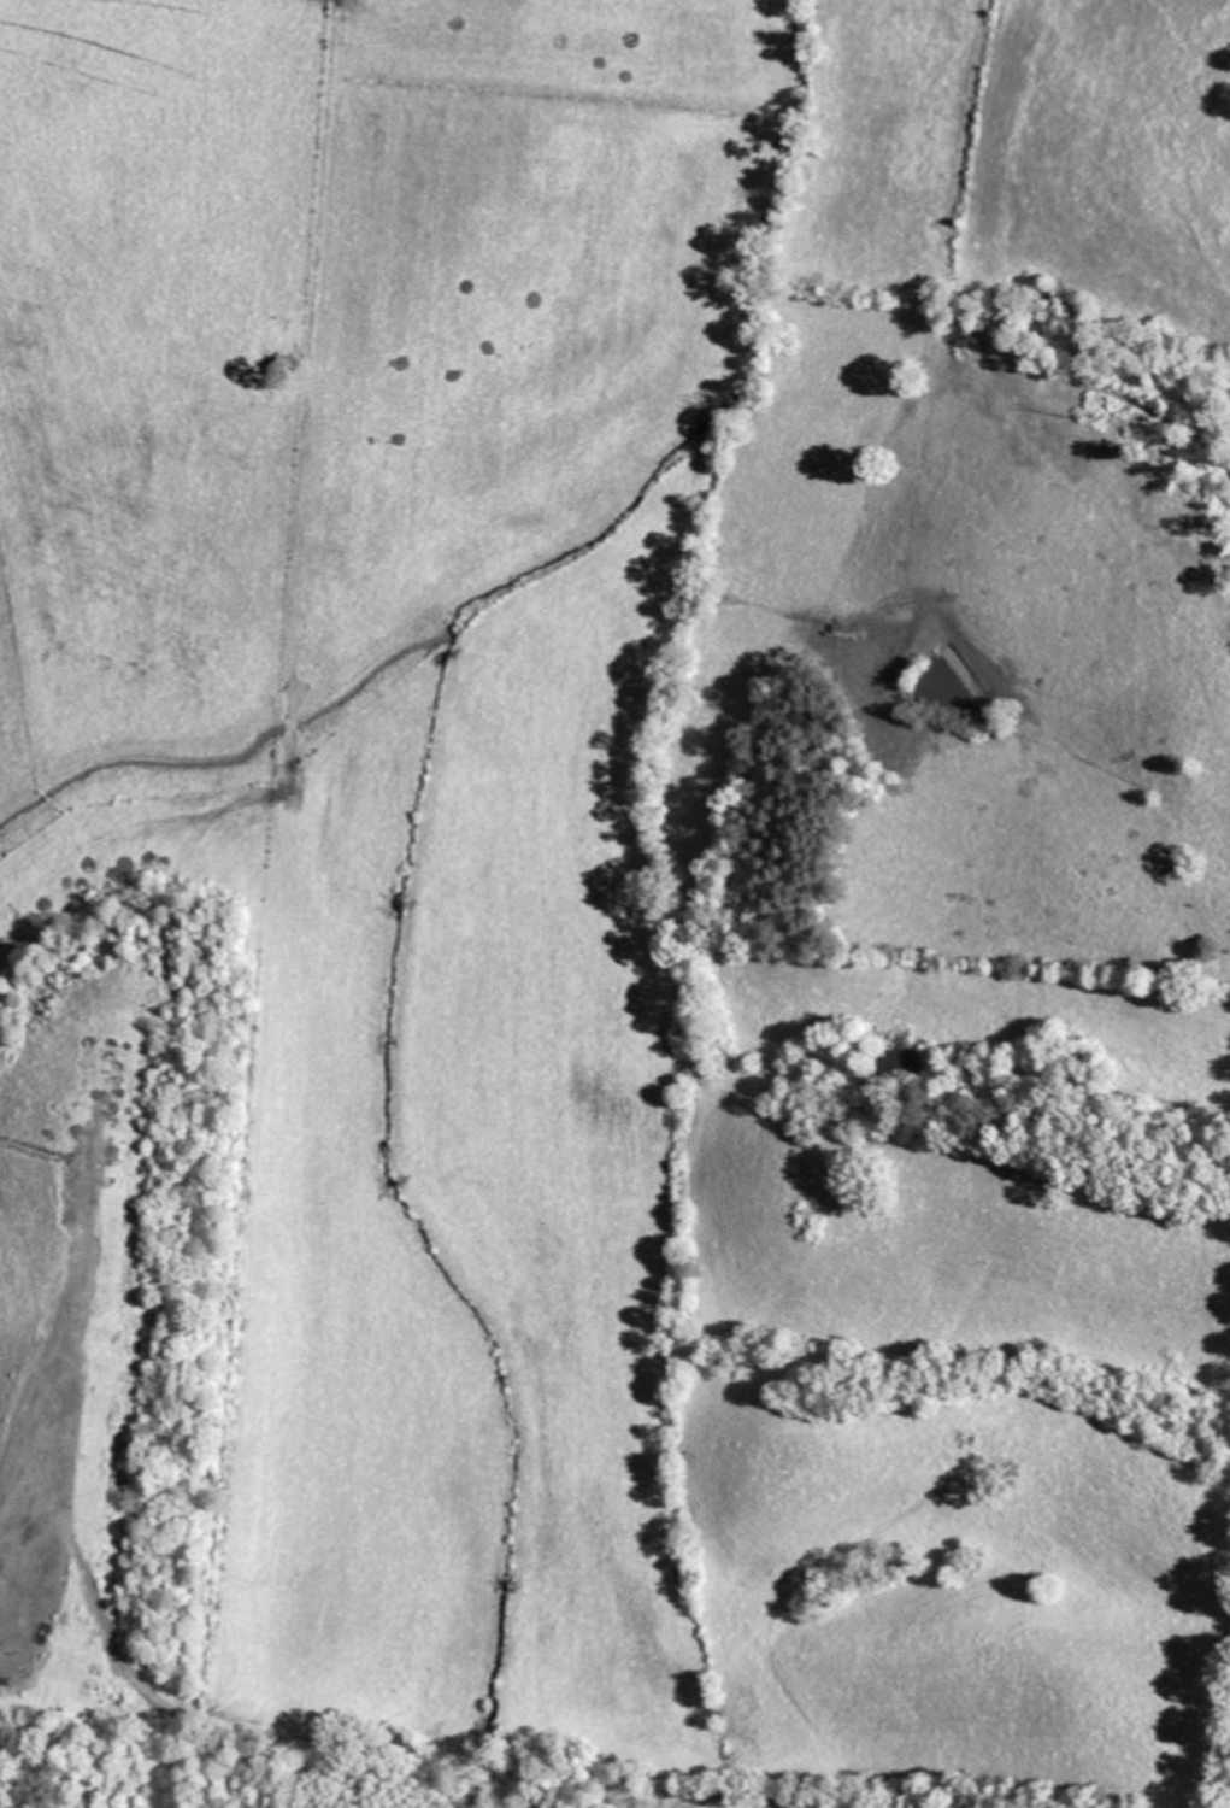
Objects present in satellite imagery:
road: (761, 1792)

